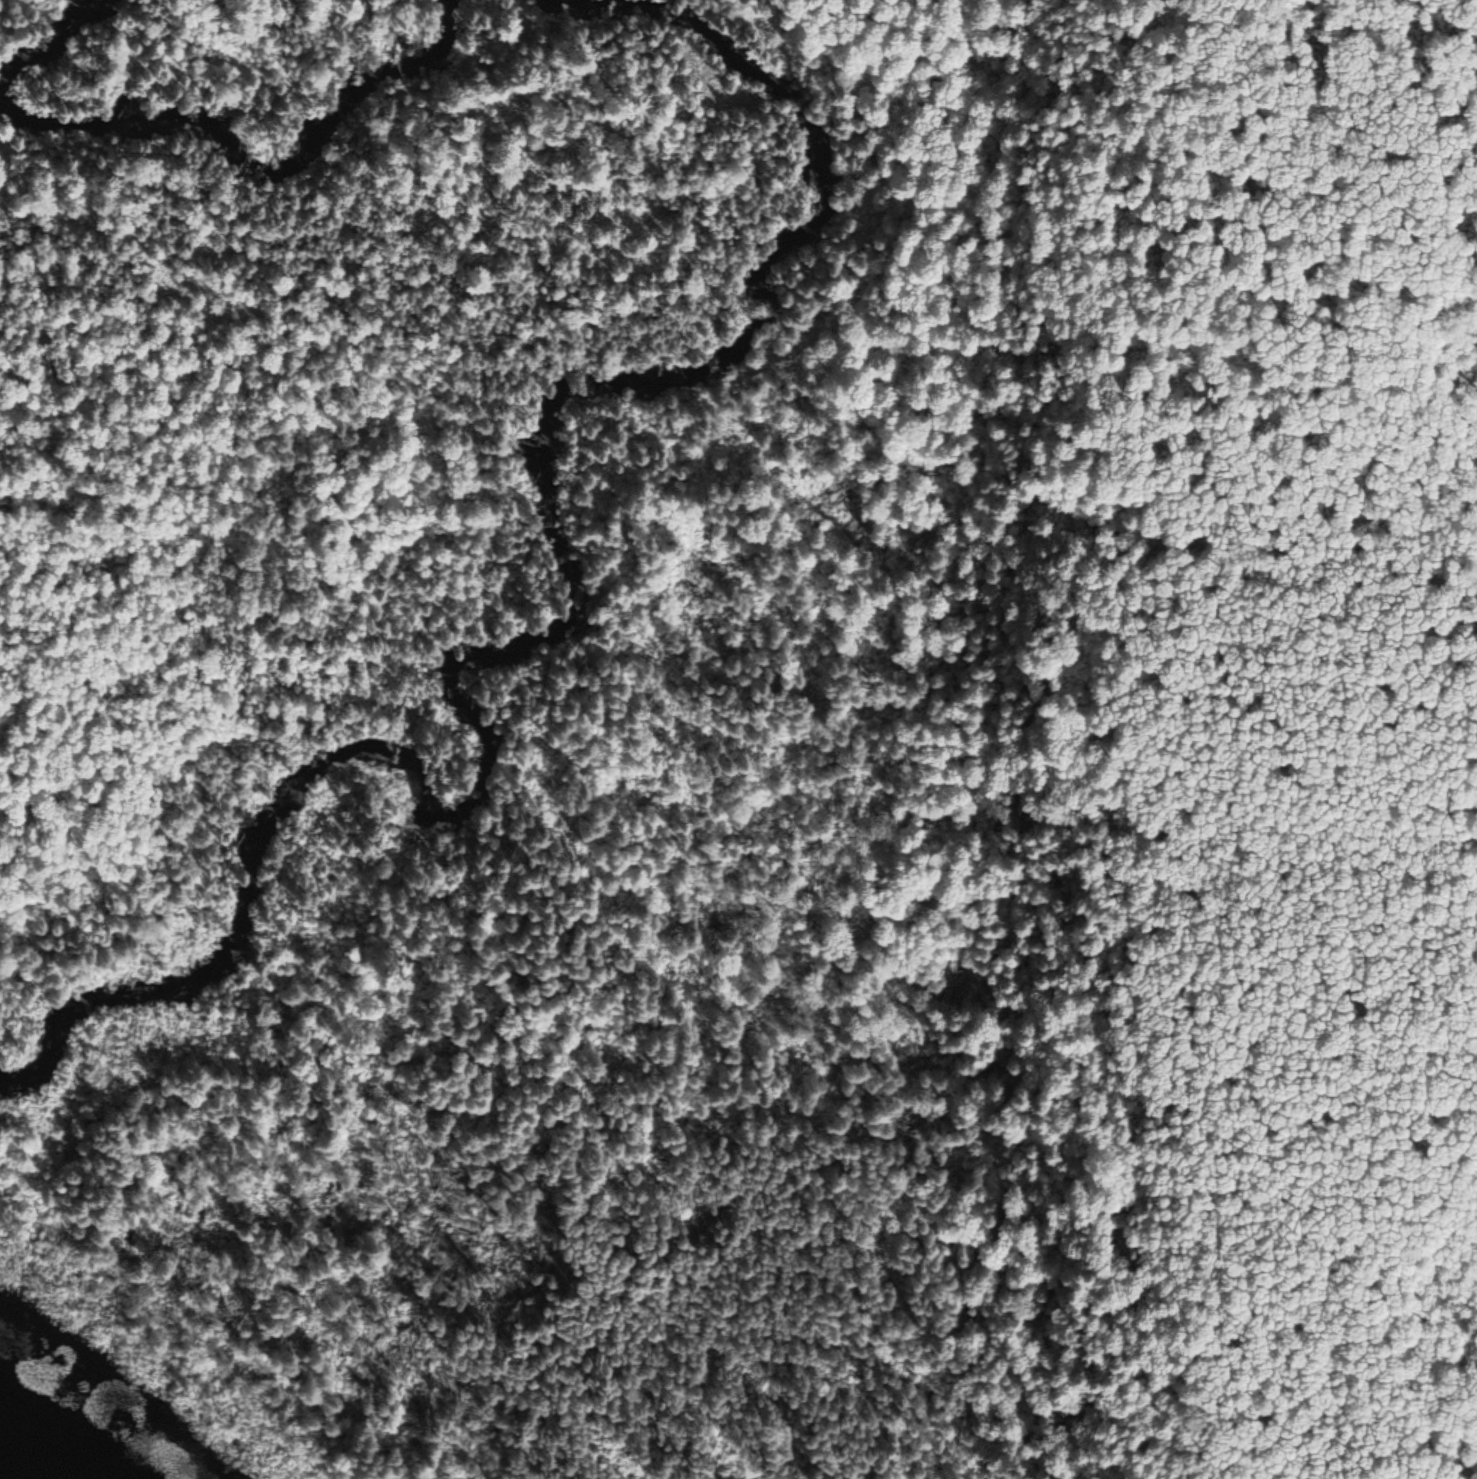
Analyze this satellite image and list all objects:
river: (205, 145)
river: (569, 619)
river: (12, 1466)

